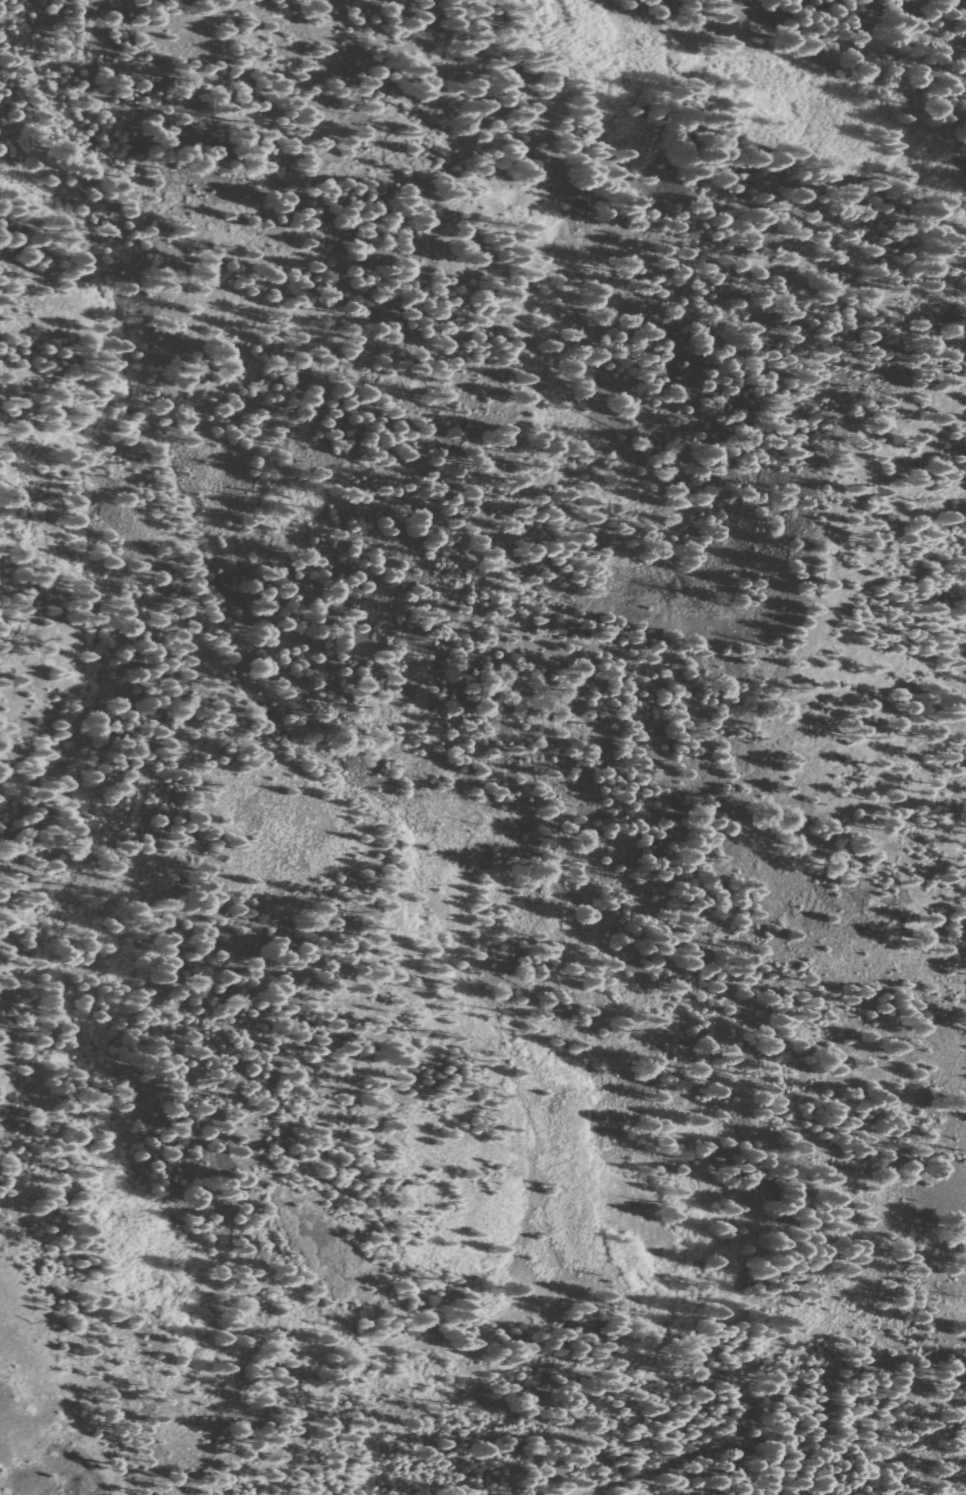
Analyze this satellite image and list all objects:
road: (680, 1469)

